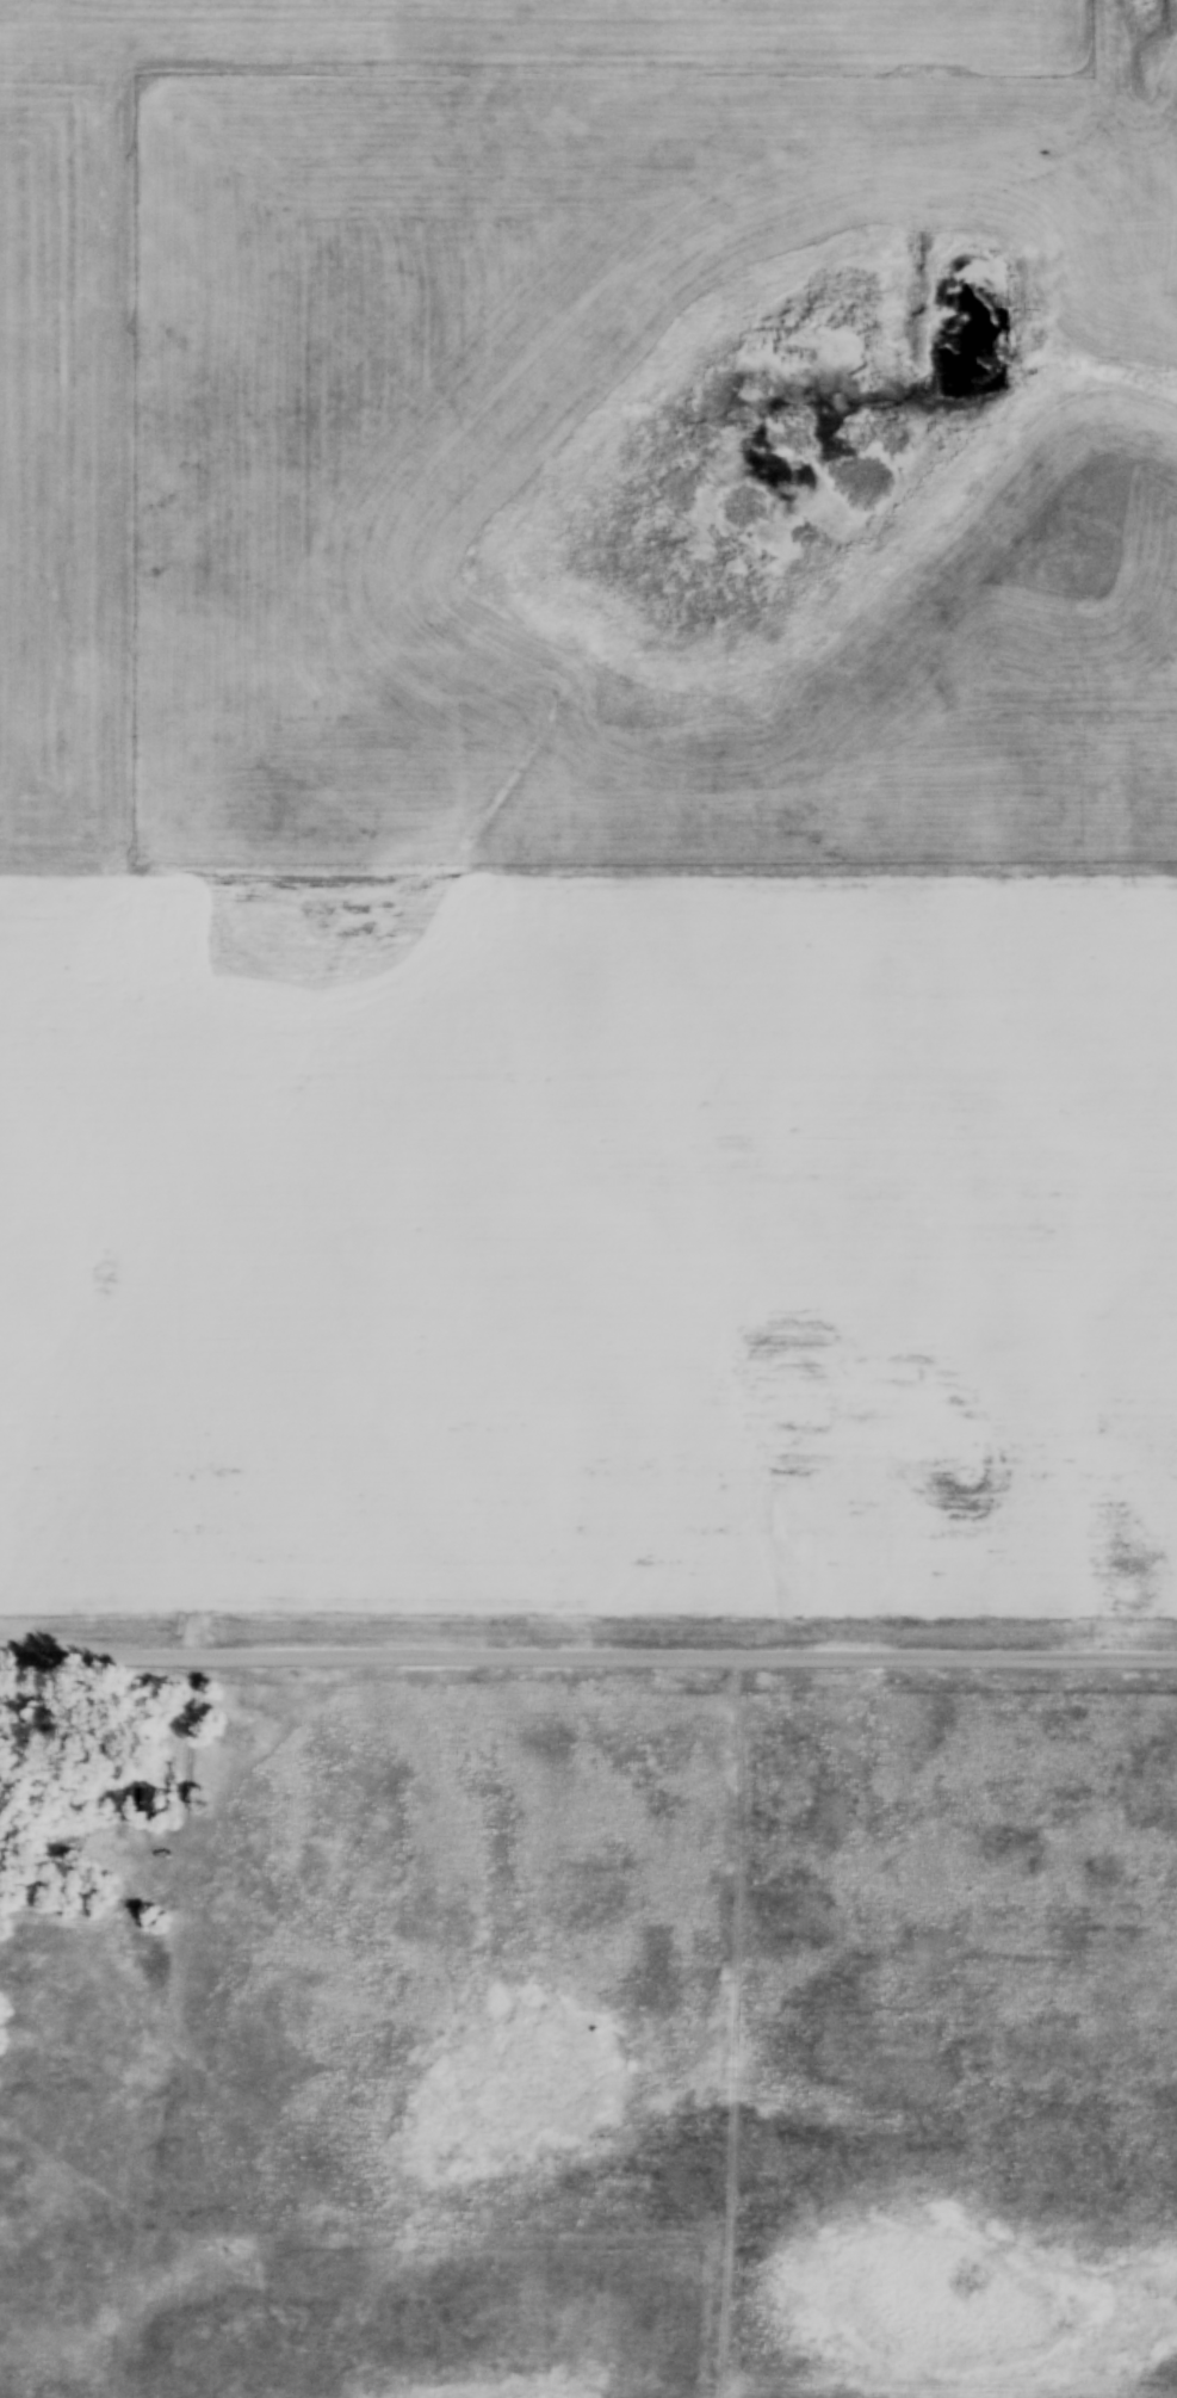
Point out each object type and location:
road: (588, 1650)
road: (188, 1739)
building: (147, 1805)

